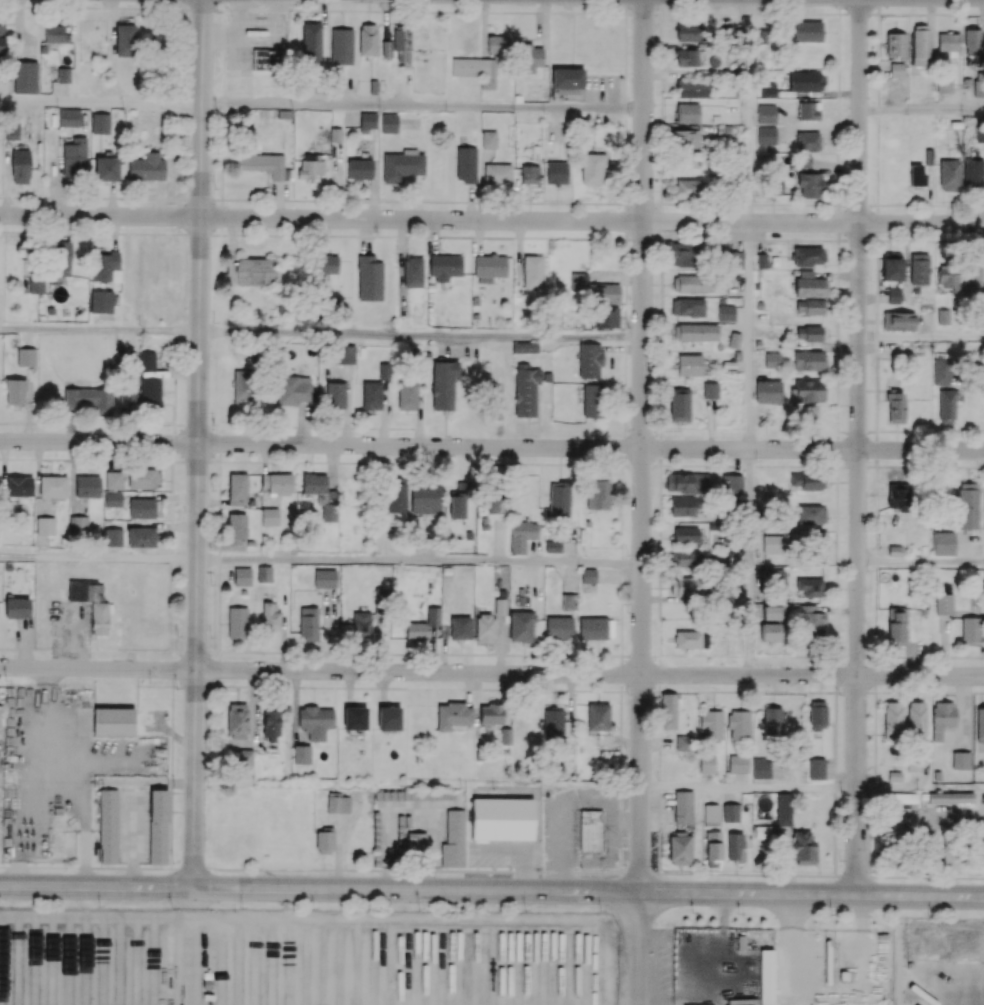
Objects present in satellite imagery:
street lamp: (227, 13)
street lamp: (293, 16)
road: (238, 17)
road: (279, 17)
street lamp: (263, 23)
road: (240, 34)
street lamp: (262, 38)
road: (279, 44)
building: (268, 61)
road: (238, 63)
road: (100, 102)
road: (422, 106)
road: (921, 109)
street lamp: (217, 111)
road: (750, 111)
street lamp: (215, 190)
road: (99, 216)
road: (591, 221)
road: (99, 330)
road: (421, 334)
road: (749, 336)
road: (921, 337)
road: (98, 443)
road: (197, 443)
road: (642, 446)
road: (590, 447)
road: (858, 447)
building: (141, 479)
road: (98, 557)
road: (419, 561)
road: (747, 562)
road: (920, 562)
road: (97, 668)
road: (418, 672)
road: (812, 675)
street lamp: (178, 691)
street lamp: (628, 695)
road: (97, 782)
road: (748, 787)
building: (159, 807)
road: (920, 817)
building: (108, 827)
road: (132, 840)
building: (158, 844)
road: (85, 859)
road: (491, 872)
road: (492, 890)
road: (192, 946)
road: (639, 948)

